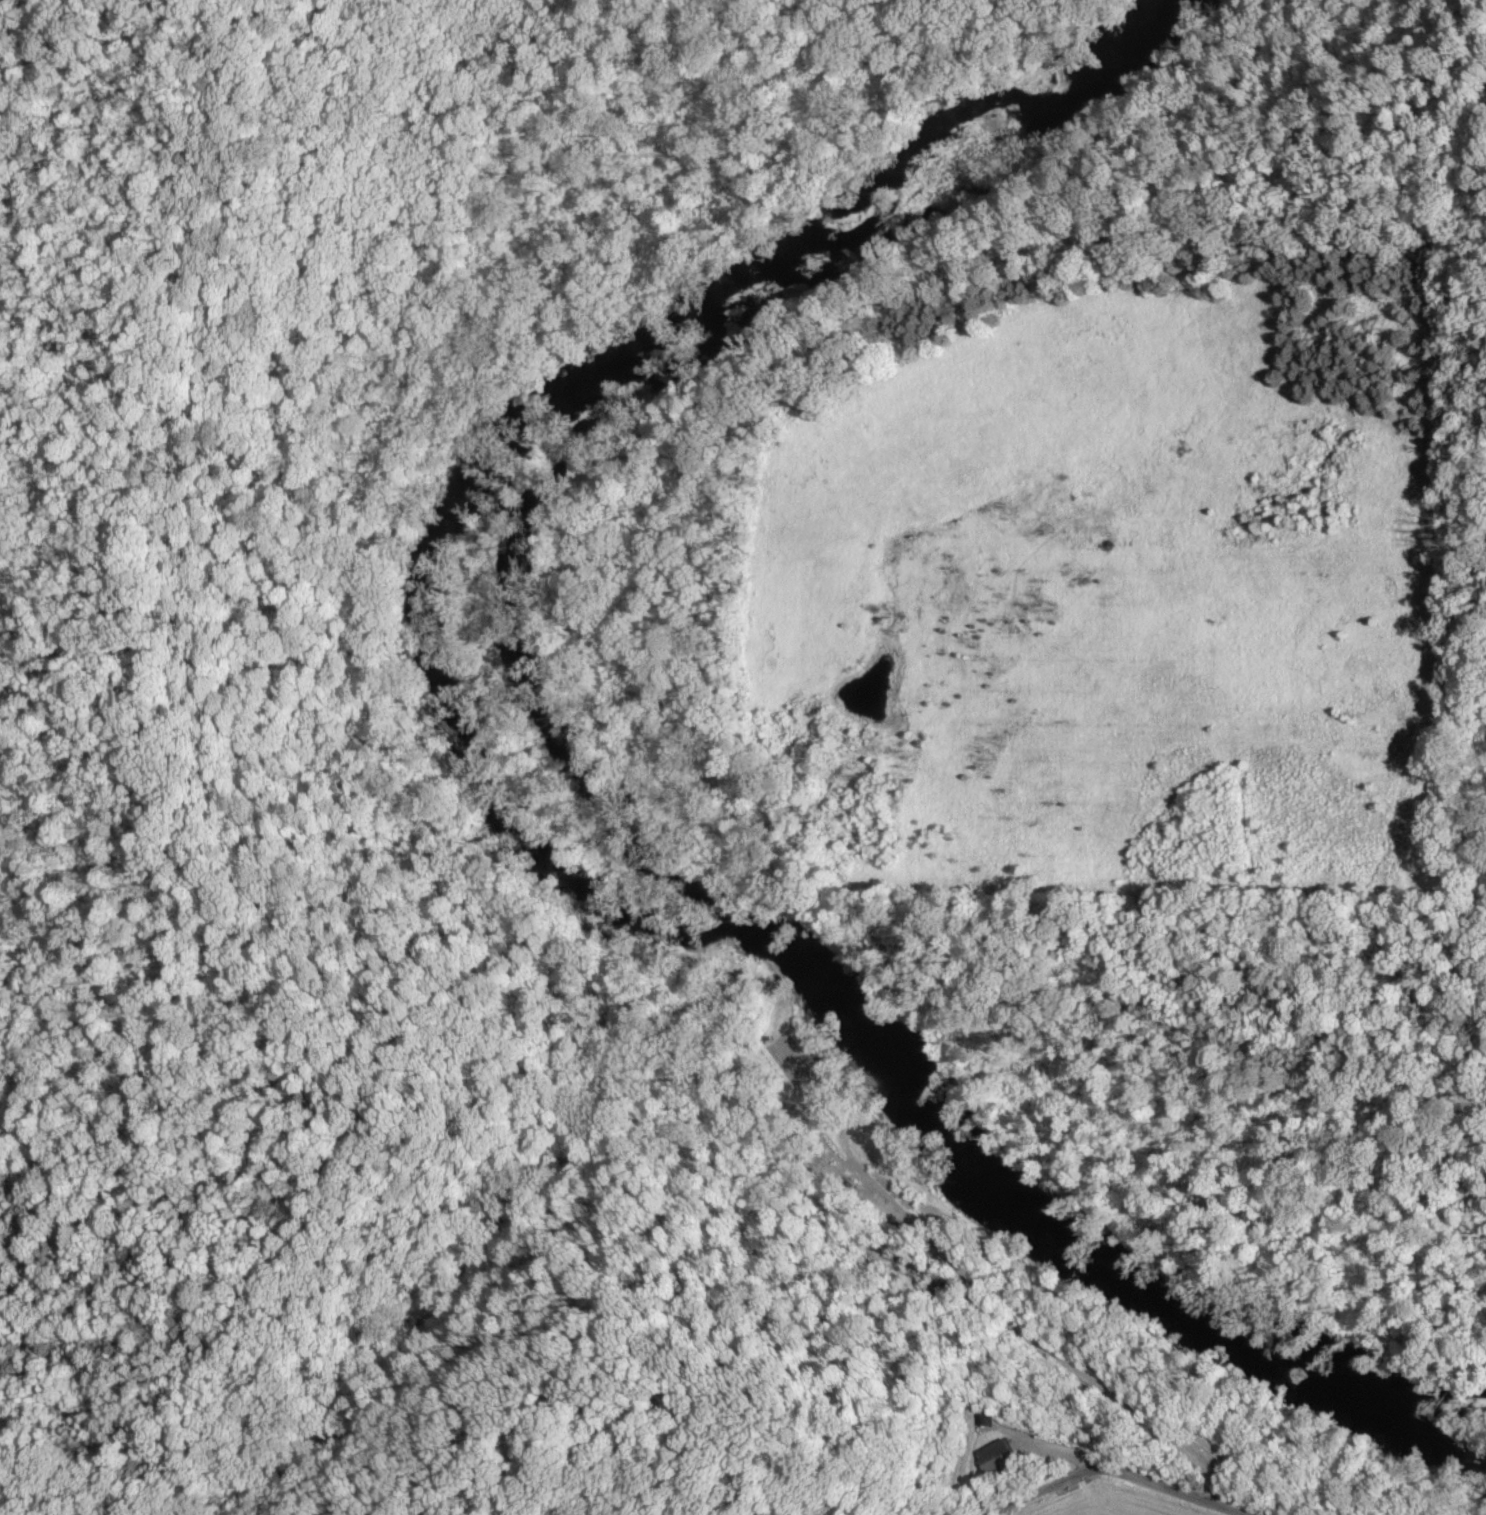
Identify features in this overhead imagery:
building: (995, 1451)
road: (1053, 1493)
road: (1180, 1494)

